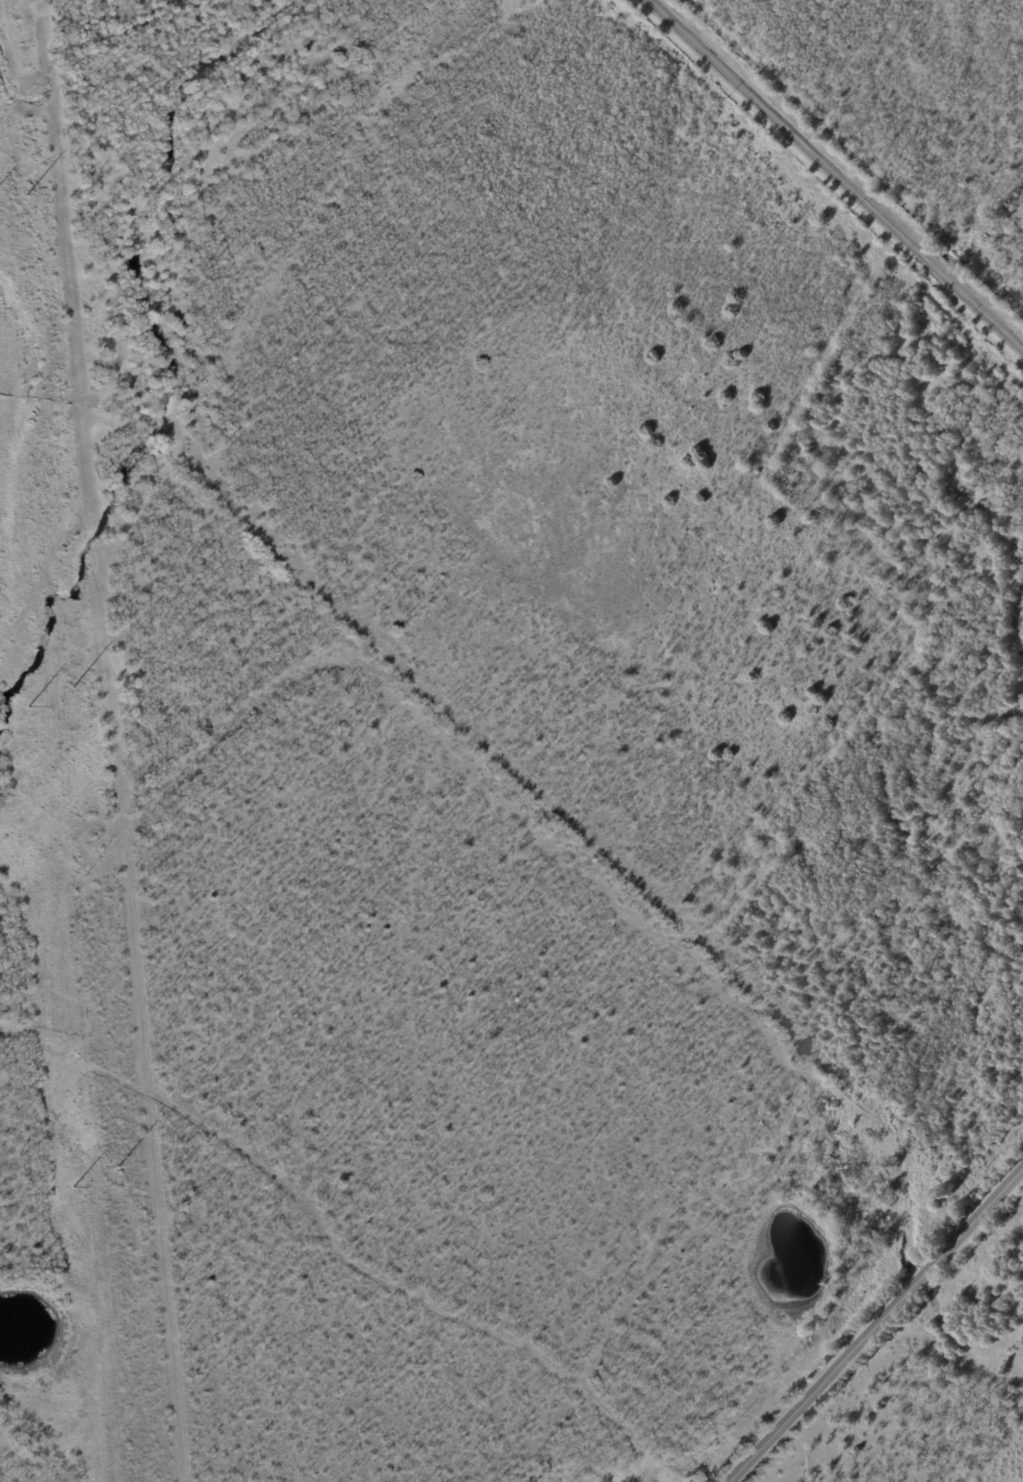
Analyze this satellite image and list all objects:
road: (834, 176)
road: (875, 1325)

